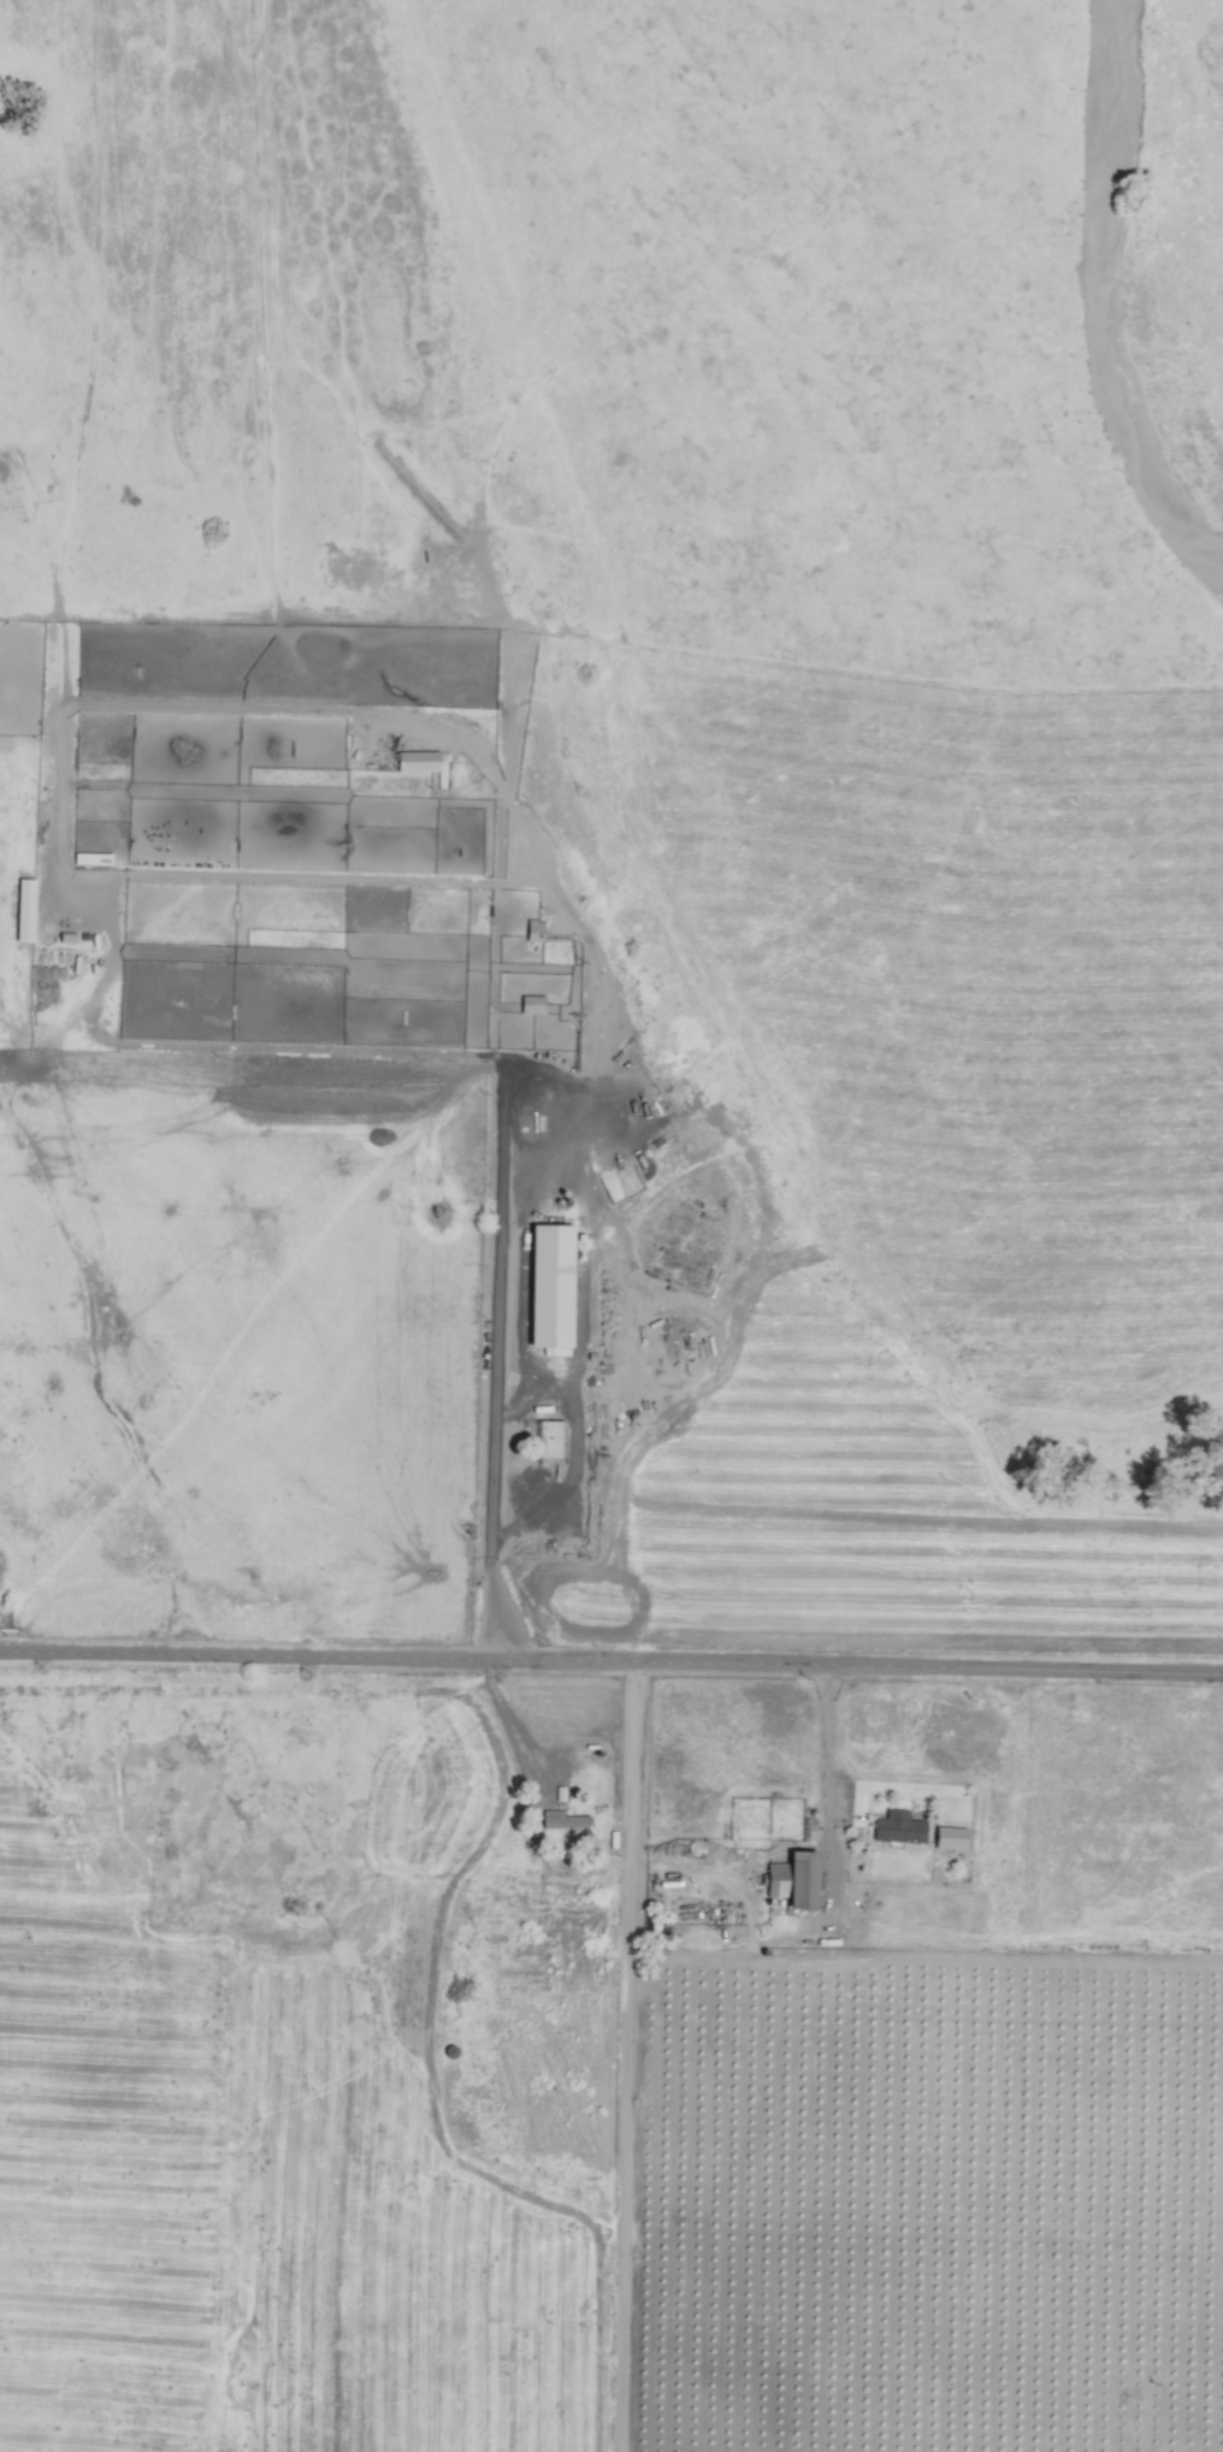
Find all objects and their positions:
crop: (191, 586)
crop: (882, 638)
building: (416, 762)
building: (23, 910)
building: (531, 1004)
building: (548, 1287)
building: (550, 1440)
road: (515, 1523)
road: (611, 1660)
road: (825, 1735)
crop: (243, 1767)
building: (562, 1821)
building: (898, 1828)
building: (949, 1839)
building: (792, 1881)
road: (638, 2056)

